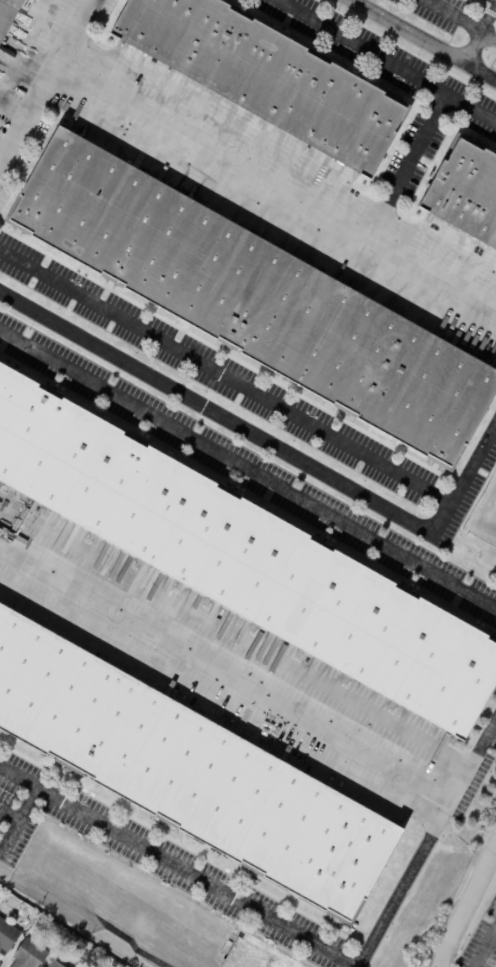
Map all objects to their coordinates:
building: (8, 15)
road: (461, 19)
road: (481, 37)
road: (424, 40)
road: (385, 62)
building: (266, 77)
road: (45, 84)
road: (422, 147)
road: (275, 187)
building: (464, 195)
building: (255, 299)
road: (226, 378)
road: (271, 444)
road: (247, 470)
building: (244, 559)
road: (227, 676)
building: (188, 775)
road: (20, 811)
road: (429, 845)
road: (177, 866)
road: (466, 905)
building: (8, 935)
road: (484, 945)
building: (30, 954)
building: (55, 964)

